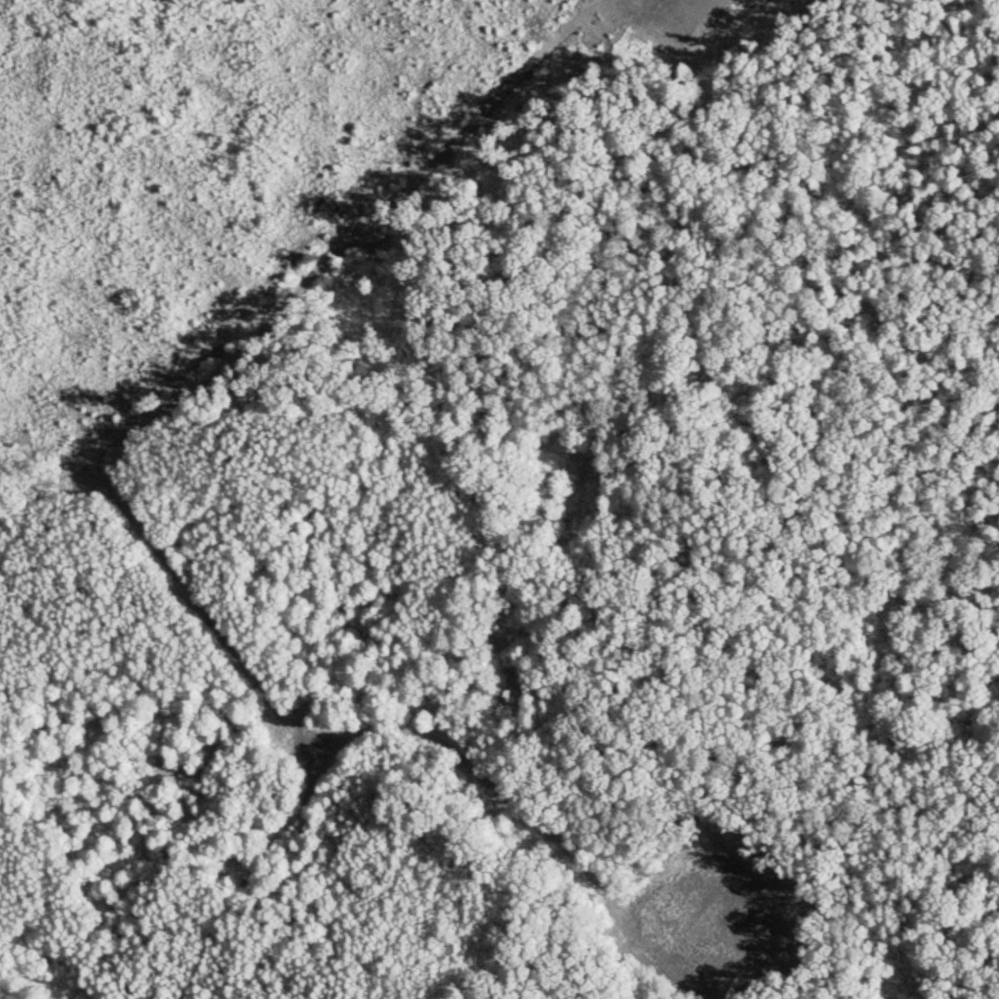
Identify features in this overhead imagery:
road: (44, 471)
road: (102, 476)

